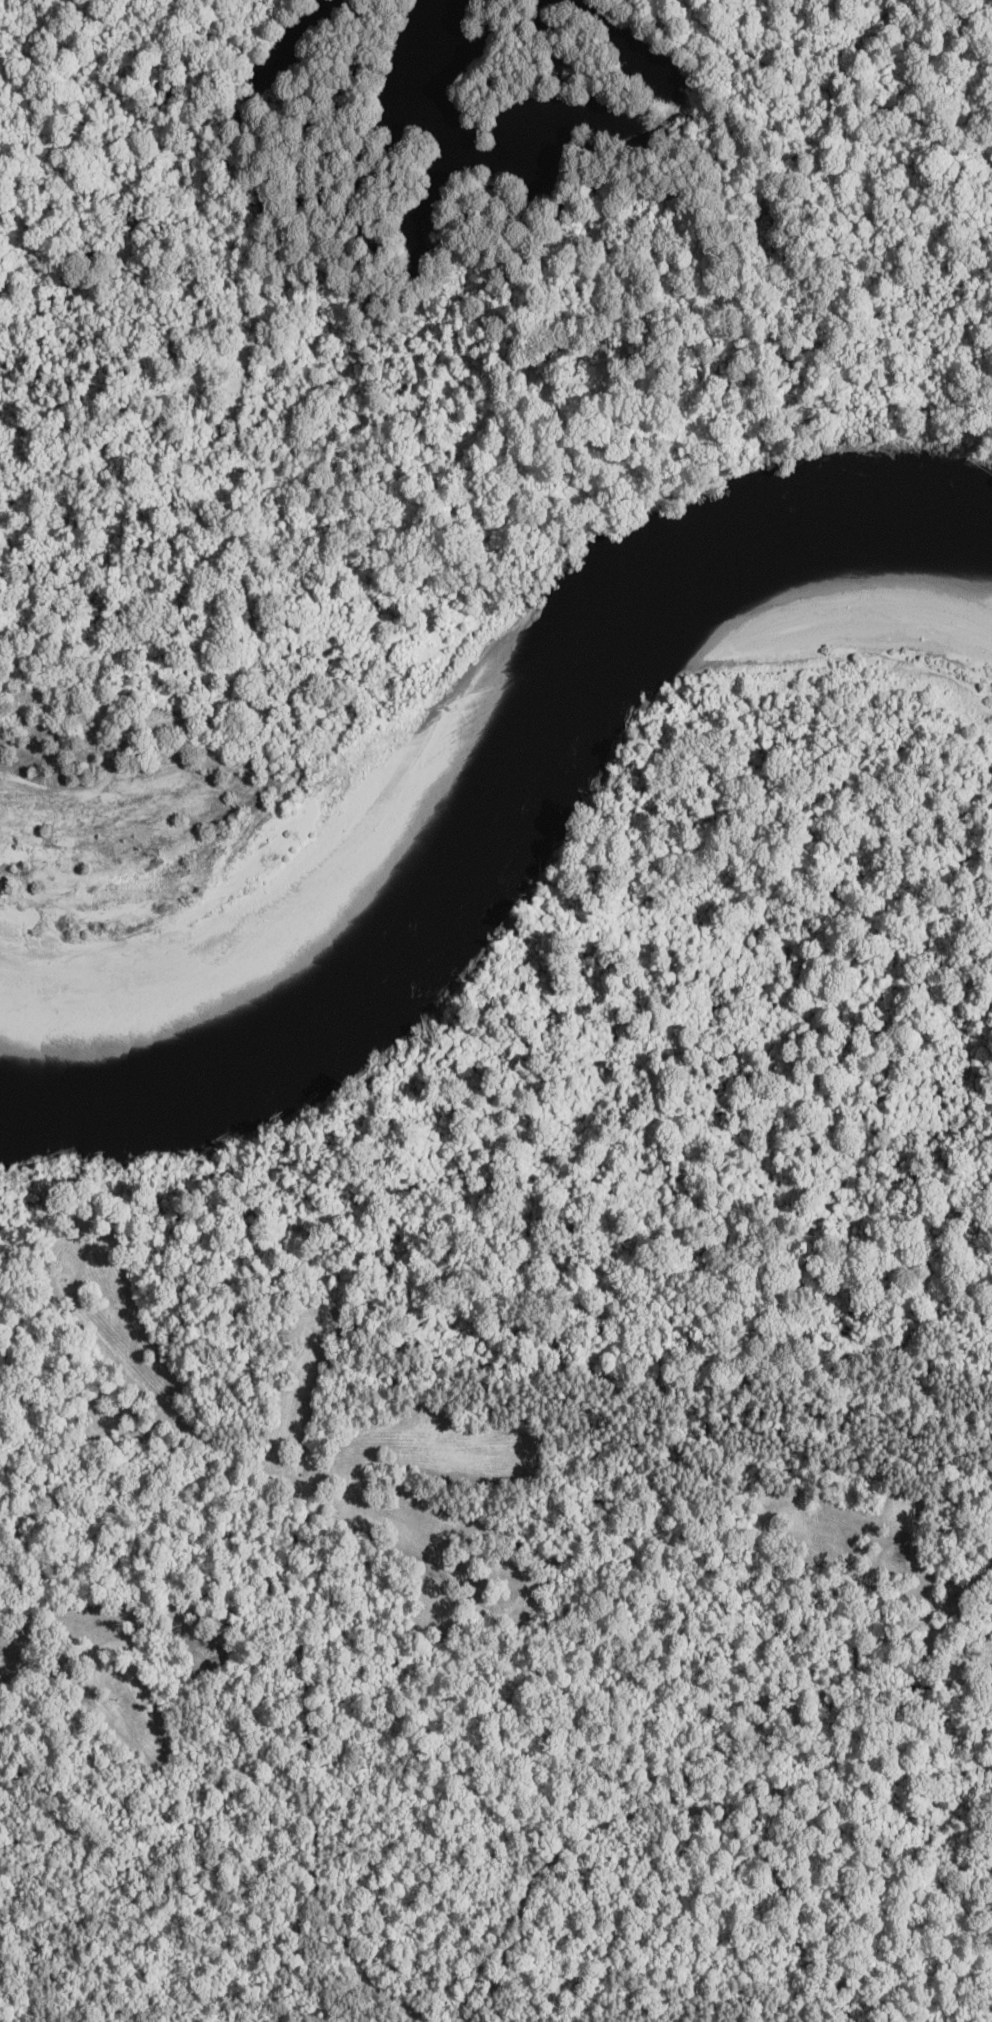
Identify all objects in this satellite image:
river: (486, 785)

